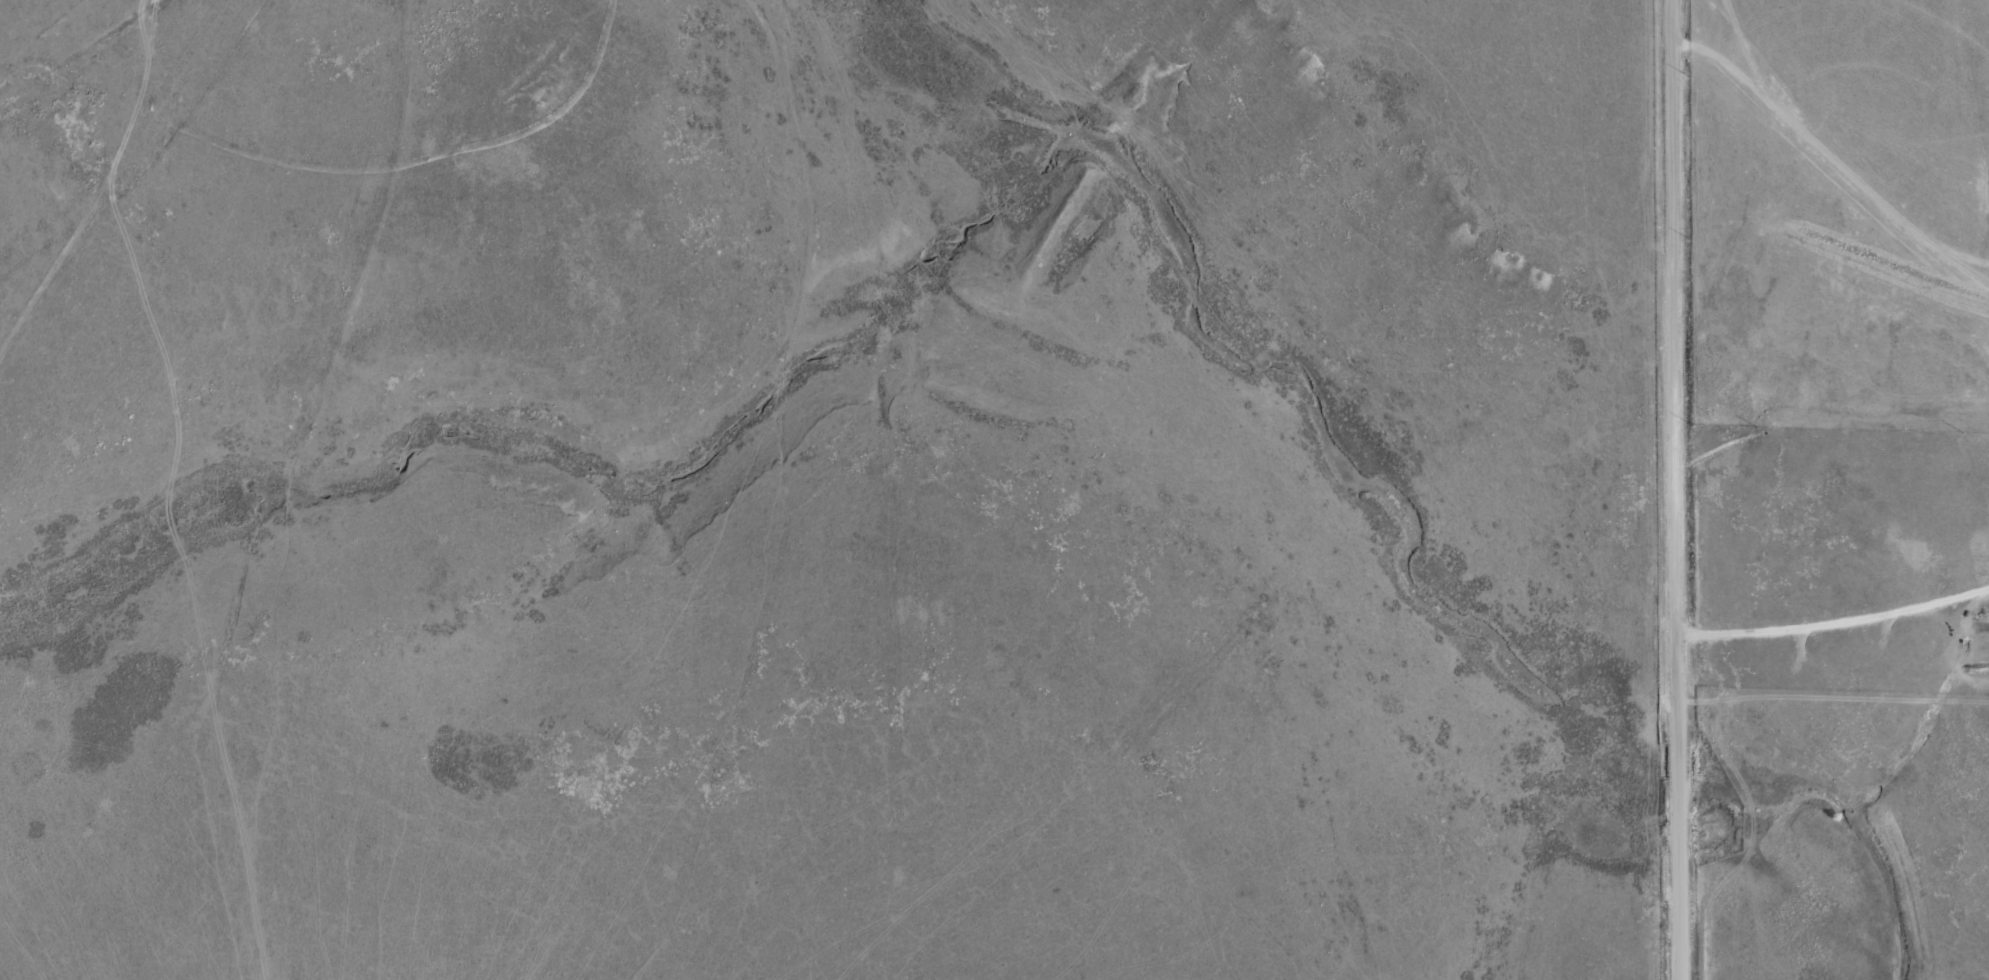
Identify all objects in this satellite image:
road: (1830, 113)
road: (1677, 490)

